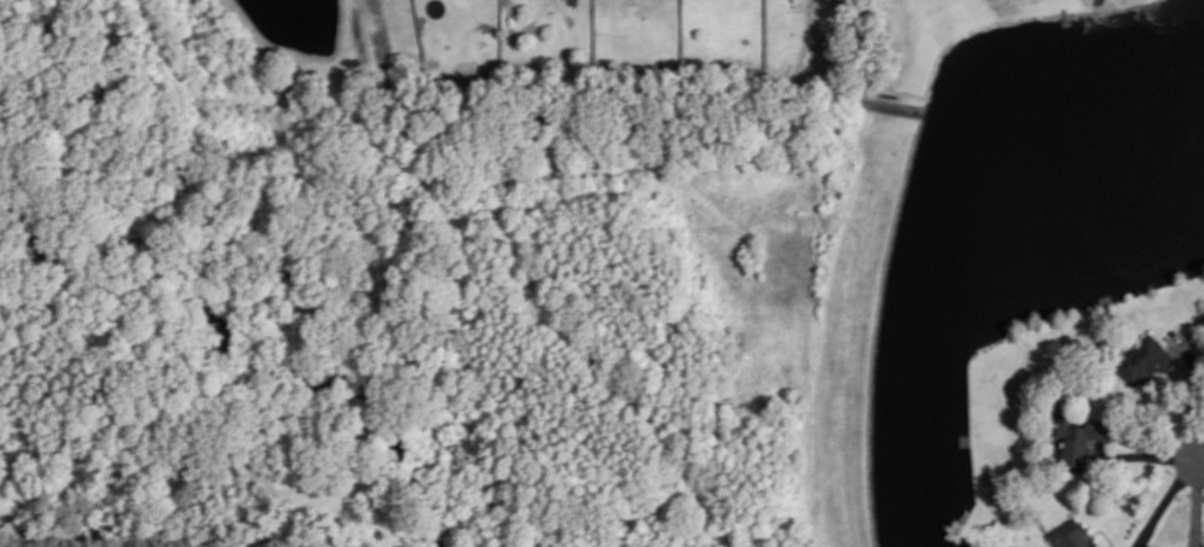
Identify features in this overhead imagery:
pier: (1152, 5)
pier: (1066, 17)
road: (872, 75)
road: (464, 287)
building: (1144, 355)
road: (1192, 389)
building: (1081, 436)
road: (1150, 454)
road: (1203, 456)
street lamp: (1170, 467)
road: (1165, 499)
road: (1197, 501)
road: (1105, 530)
road: (1200, 533)
building: (1073, 535)
building: (1203, 542)
building: (1013, 545)

